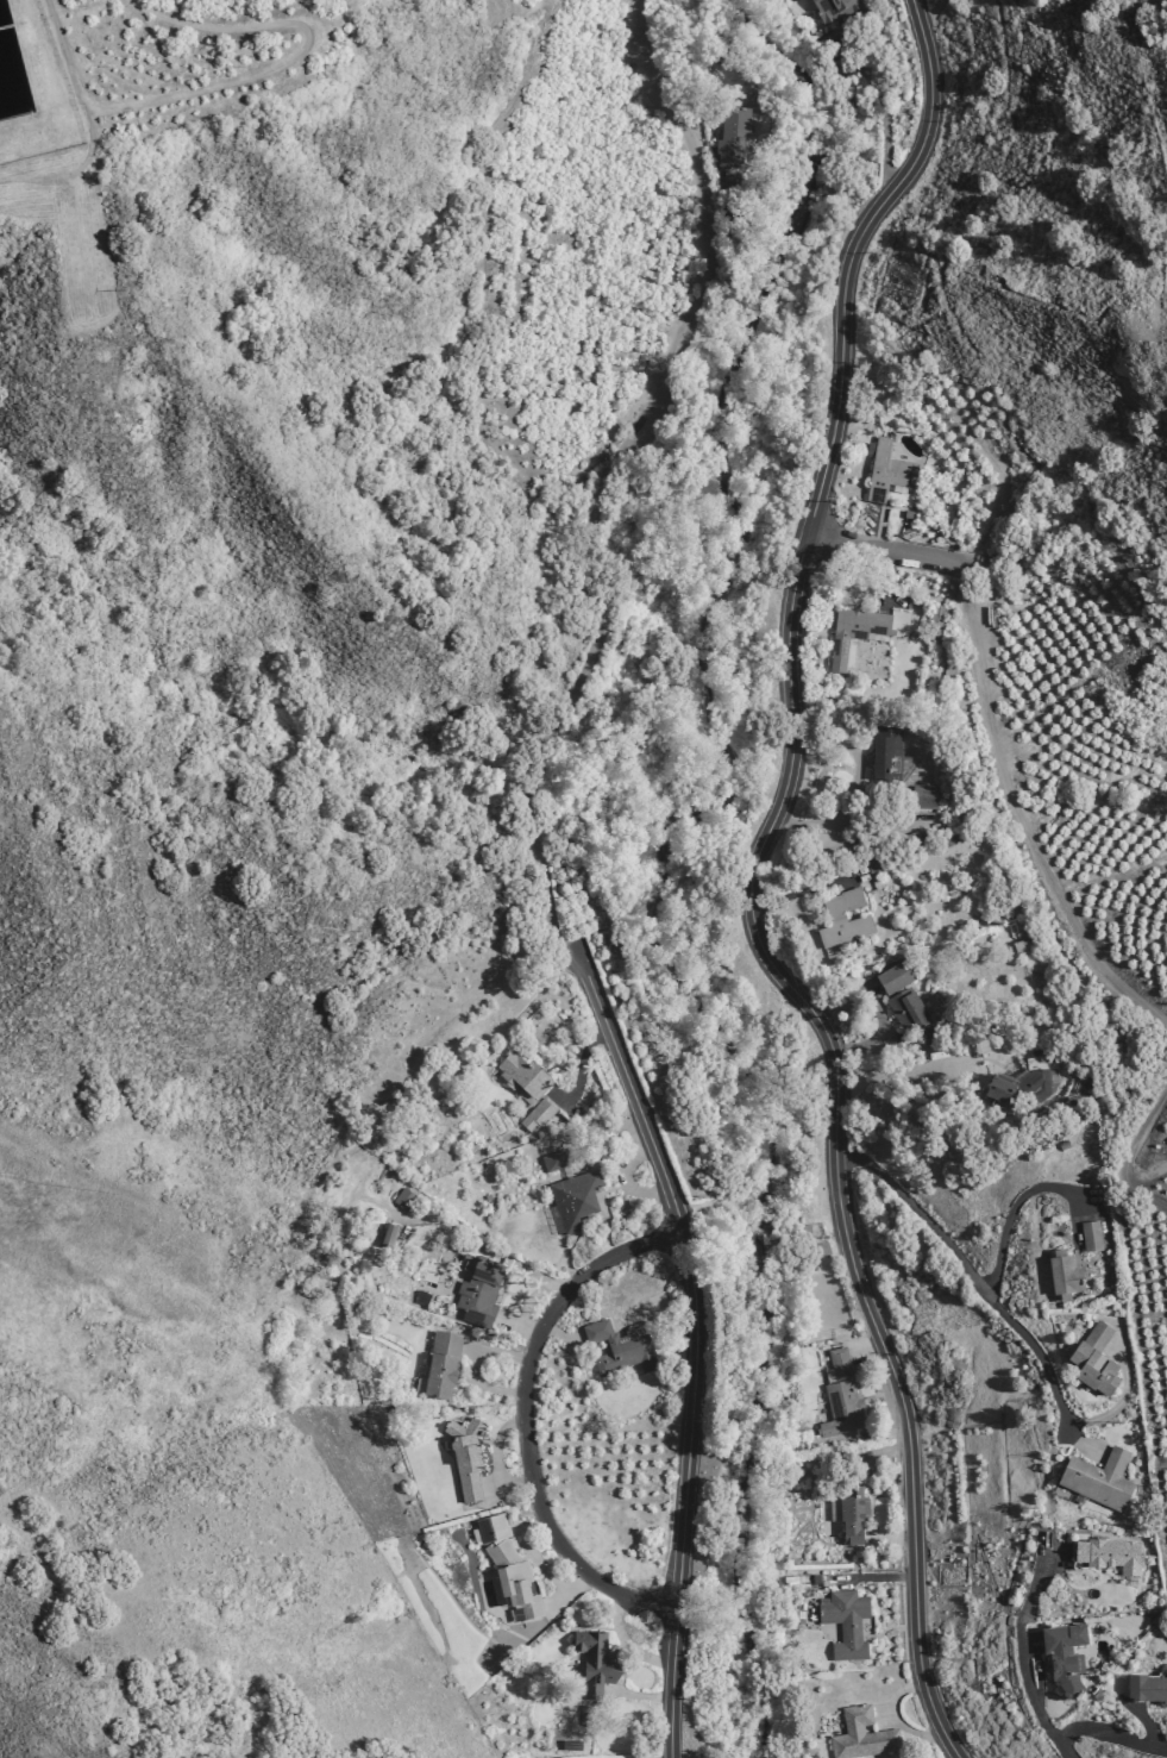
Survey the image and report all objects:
building: (832, 8)
road: (931, 12)
road: (837, 44)
road: (291, 57)
road: (851, 57)
road: (88, 120)
building: (733, 136)
road: (810, 158)
road: (764, 175)
road: (1031, 262)
road: (483, 292)
building: (886, 471)
road: (602, 476)
building: (909, 514)
building: (940, 517)
road: (871, 527)
road: (879, 550)
road: (885, 578)
road: (893, 598)
building: (935, 620)
building: (854, 632)
road: (855, 755)
building: (887, 758)
building: (926, 796)
road: (1016, 813)
road: (855, 822)
building: (914, 838)
building: (873, 864)
road: (749, 881)
road: (798, 888)
building: (843, 919)
building: (895, 978)
road: (874, 991)
road: (862, 996)
building: (908, 1008)
road: (878, 1037)
road: (904, 1070)
road: (581, 1071)
building: (1027, 1082)
building: (528, 1088)
road: (594, 1132)
building: (1064, 1145)
road: (1133, 1151)
building: (554, 1160)
road: (626, 1178)
building: (403, 1199)
building: (575, 1199)
road: (1012, 1208)
road: (459, 1232)
building: (387, 1237)
building: (1091, 1237)
building: (823, 1249)
building: (1065, 1276)
building: (478, 1290)
road: (534, 1294)
building: (421, 1297)
road: (1011, 1321)
road: (519, 1325)
road: (561, 1335)
road: (678, 1346)
building: (620, 1347)
road: (695, 1351)
road: (872, 1352)
building: (1094, 1359)
building: (443, 1364)
road: (473, 1364)
building: (841, 1396)
road: (522, 1419)
road: (1075, 1440)
road: (887, 1454)
building: (465, 1457)
road: (496, 1459)
building: (1099, 1479)
building: (853, 1519)
road: (531, 1553)
building: (1109, 1556)
building: (508, 1568)
road: (878, 1577)
building: (816, 1578)
road: (570, 1591)
building: (846, 1622)
road: (627, 1644)
building: (1064, 1656)
road: (1022, 1660)
building: (595, 1663)
building: (1147, 1688)
road: (640, 1695)
building: (584, 1714)
road: (887, 1715)
road: (897, 1718)
road: (1138, 1718)
road: (1110, 1734)
building: (862, 1735)
building: (571, 1745)

